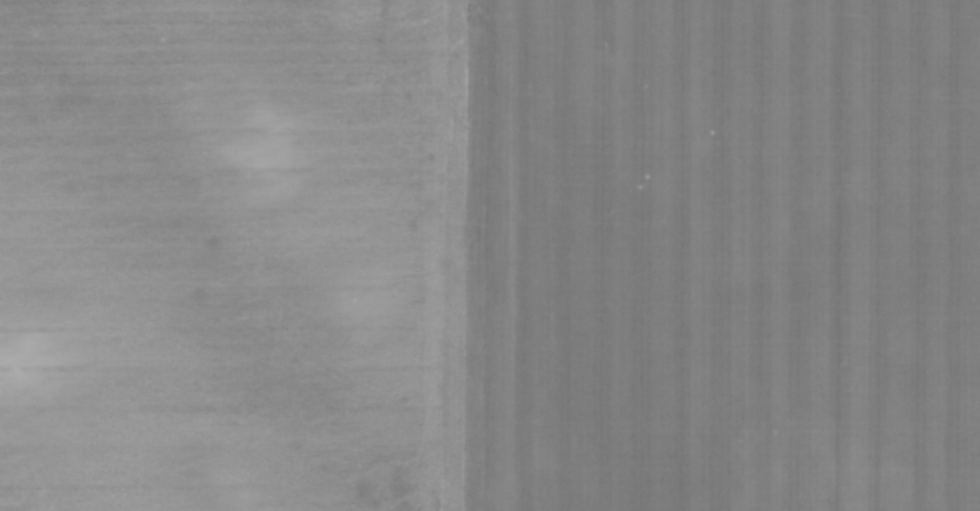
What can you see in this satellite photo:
crop: (490, 255)

